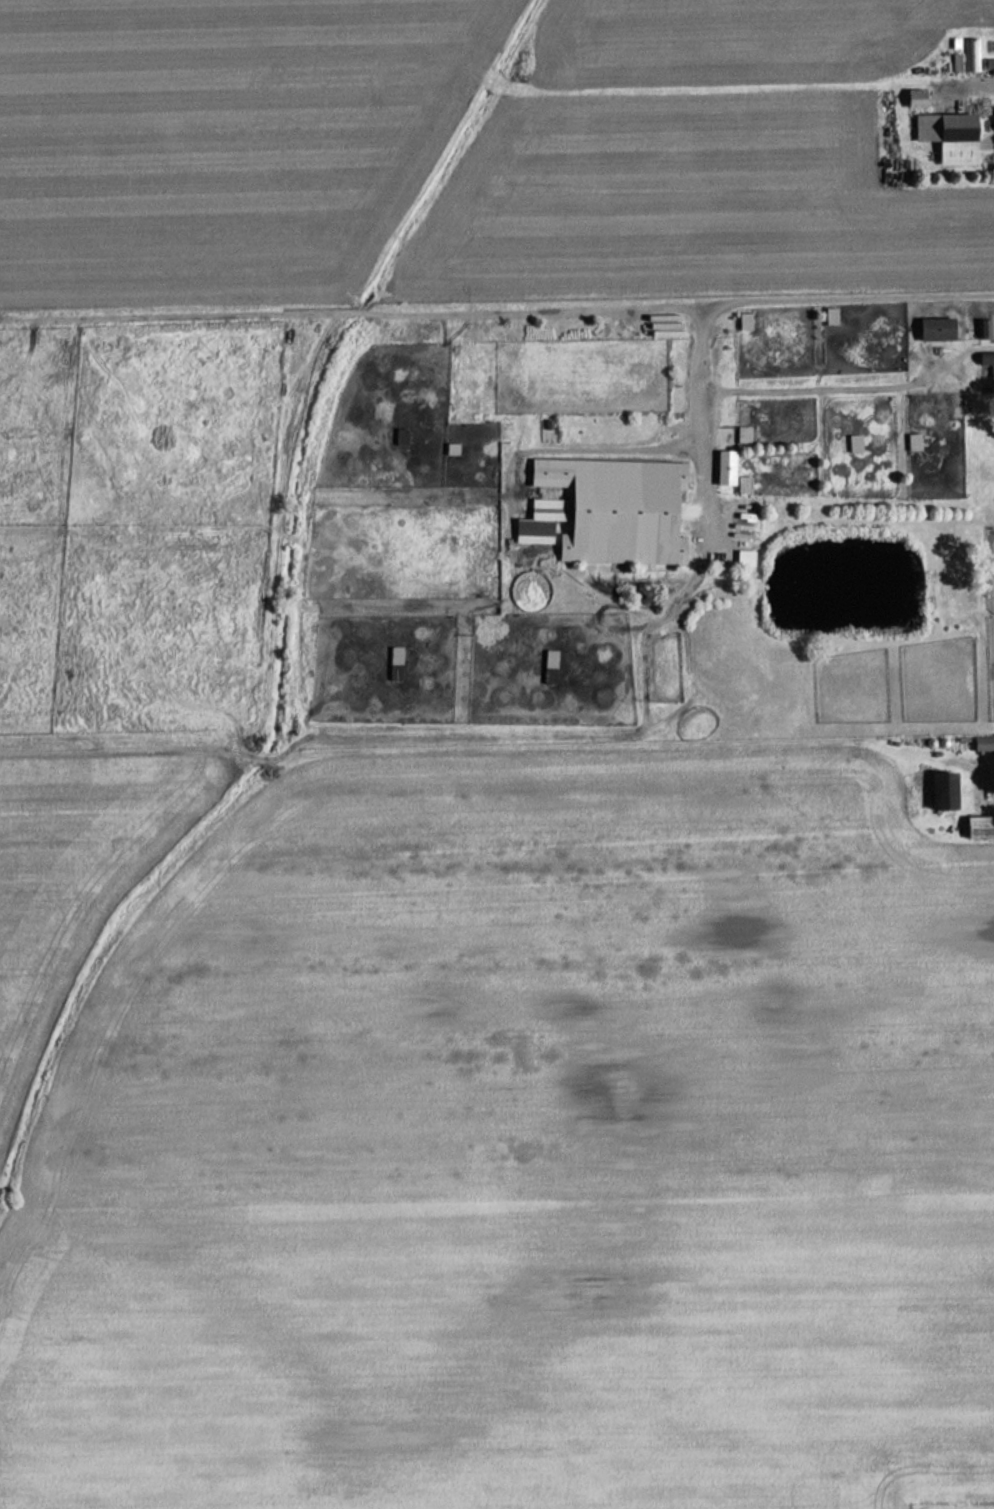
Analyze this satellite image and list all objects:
crop: (734, 43)
building: (969, 55)
building: (954, 63)
building: (916, 99)
crop: (212, 134)
building: (949, 137)
crop: (685, 203)
road: (512, 309)
building: (829, 315)
building: (743, 320)
building: (982, 328)
building: (936, 329)
building: (985, 359)
road: (852, 388)
road: (702, 416)
building: (742, 434)
building: (725, 467)
building: (742, 484)
building: (618, 509)
building: (539, 521)
building: (743, 558)
building: (394, 663)
building: (548, 666)
road: (970, 754)
building: (943, 790)
building: (980, 827)
crop: (83, 859)
crop: (525, 1154)

